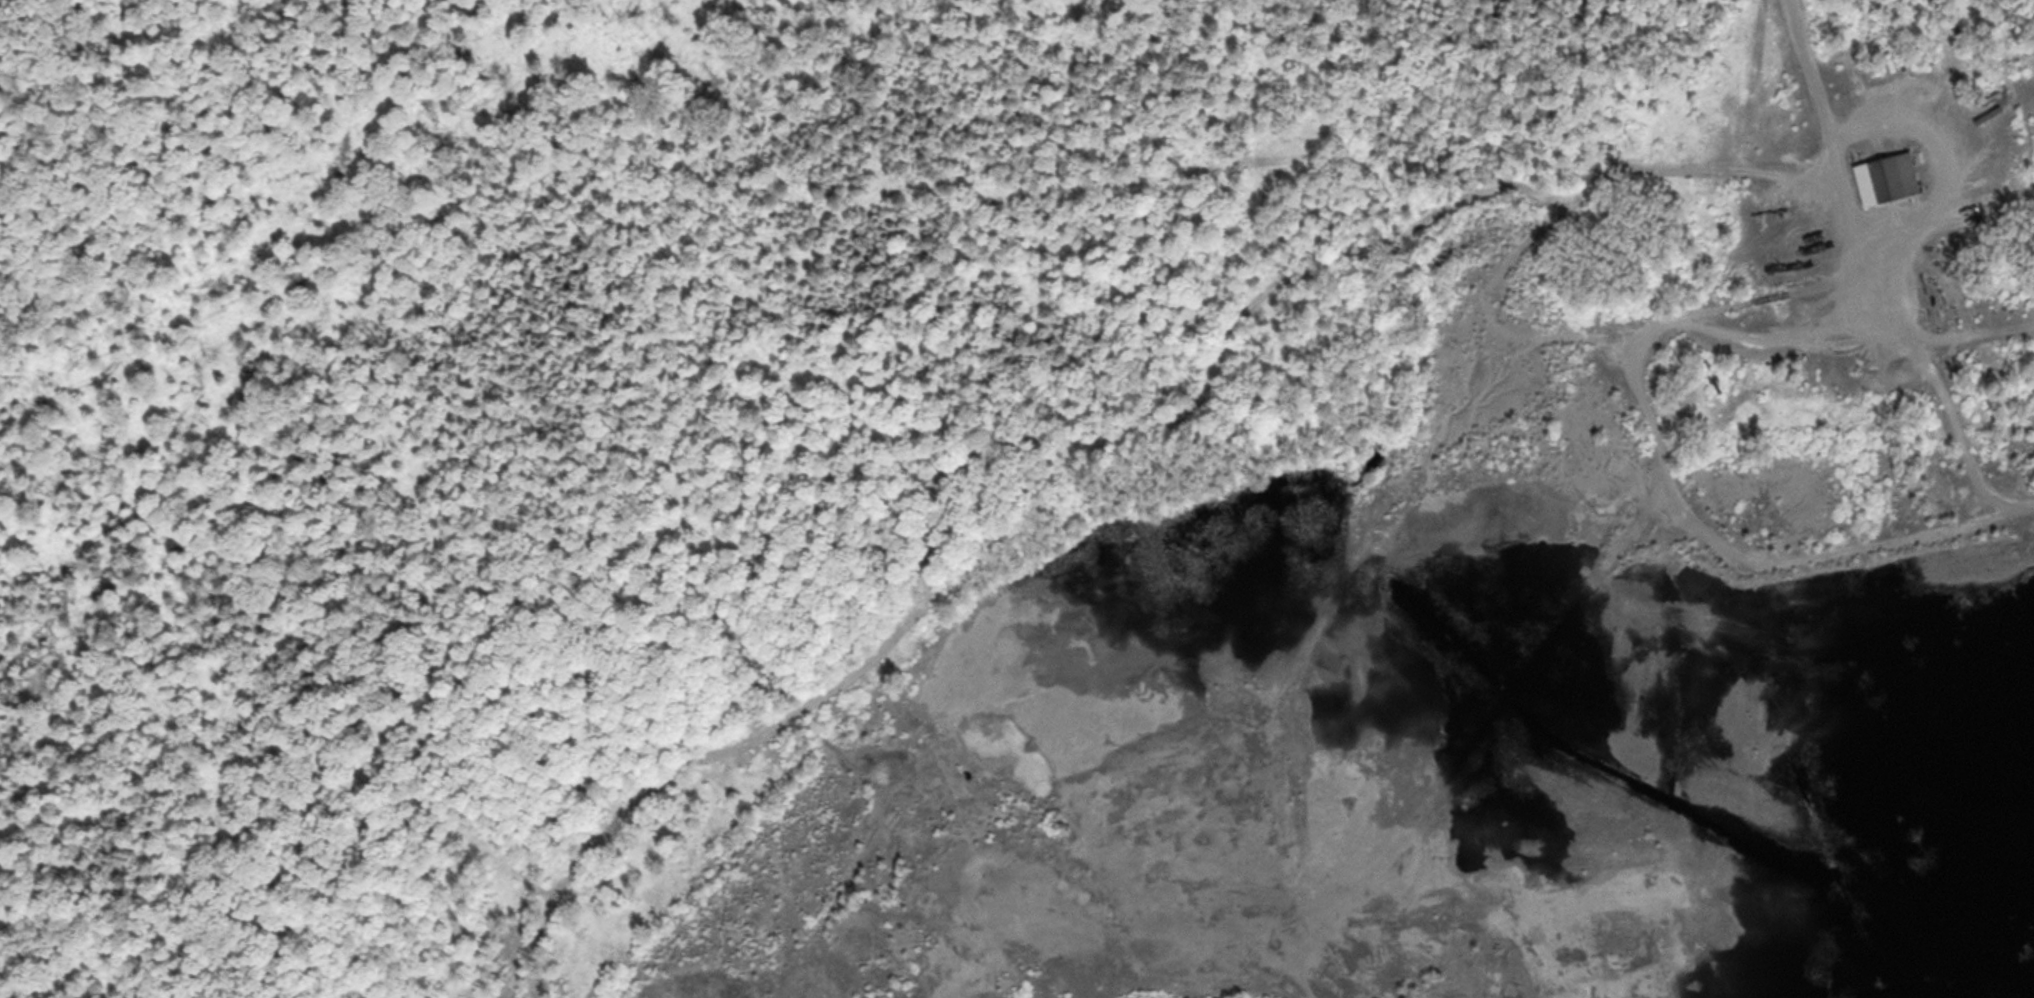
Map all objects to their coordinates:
building: (1884, 178)
road: (1883, 269)

